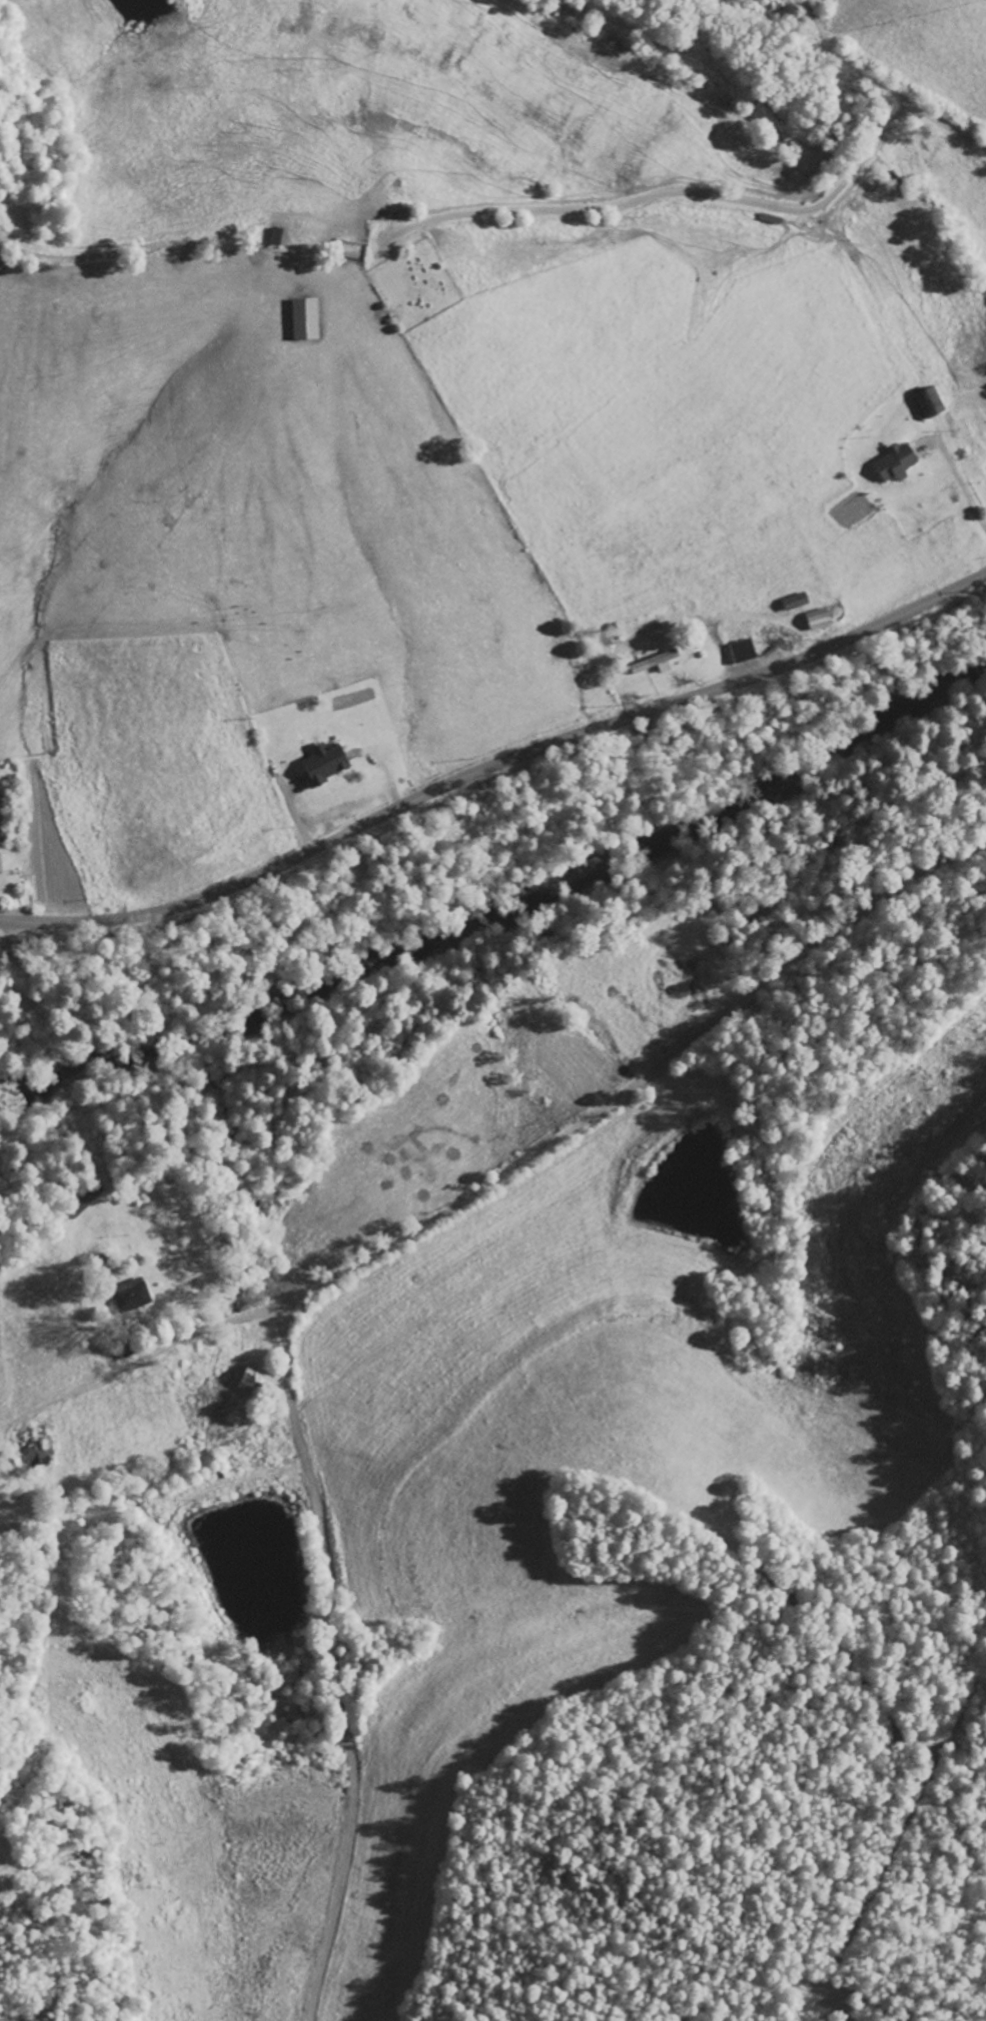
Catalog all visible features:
road: (709, 196)
building: (301, 319)
building: (925, 400)
building: (891, 462)
building: (791, 601)
building: (814, 619)
building: (739, 650)
building: (656, 660)
building: (321, 762)
road: (496, 762)
road: (638, 1080)
building: (129, 1298)
road: (208, 1328)
road: (332, 1661)

